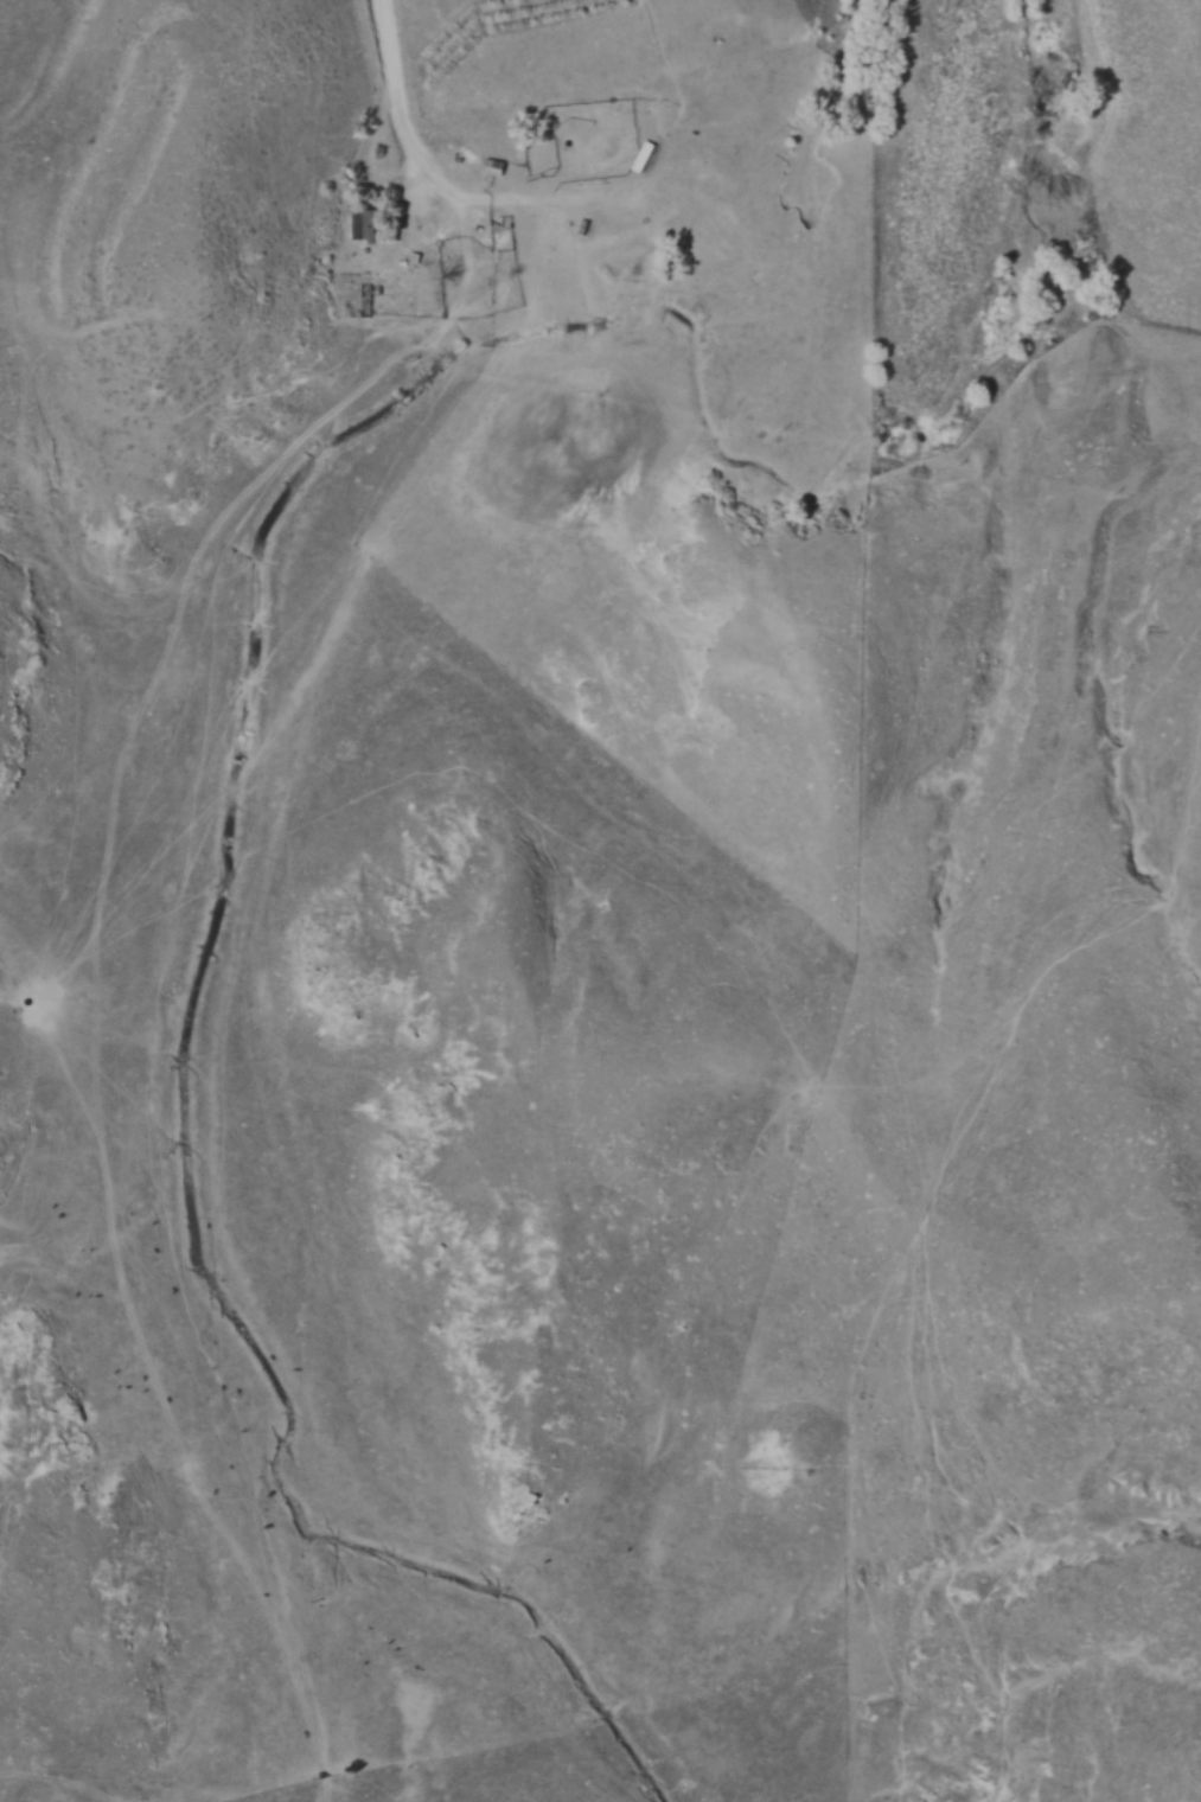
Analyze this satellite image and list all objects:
road: (400, 104)
building: (644, 159)
building: (494, 168)
building: (370, 228)

